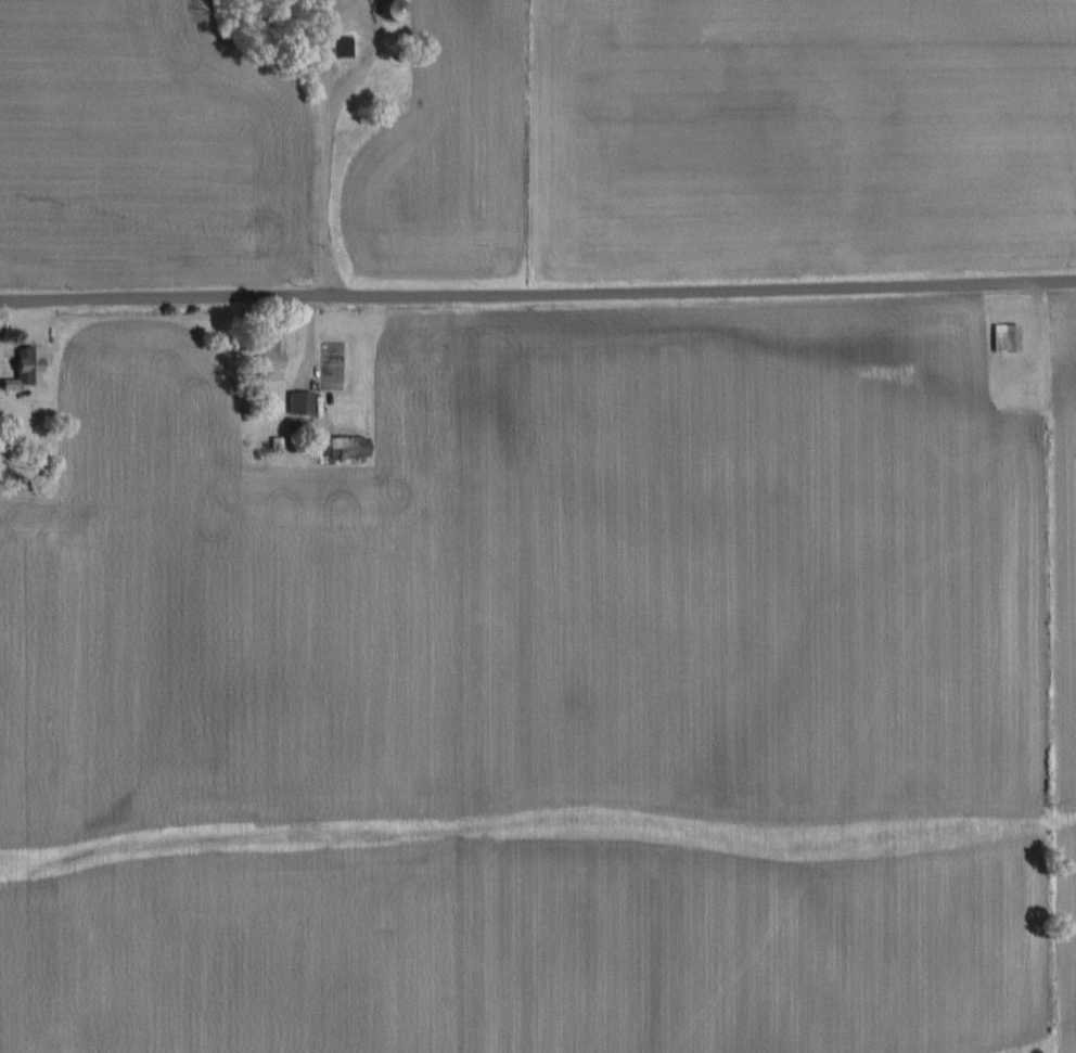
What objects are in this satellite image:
building: (343, 46)
road: (317, 153)
road: (538, 291)
building: (1007, 337)
building: (30, 364)
building: (302, 402)
building: (348, 445)

